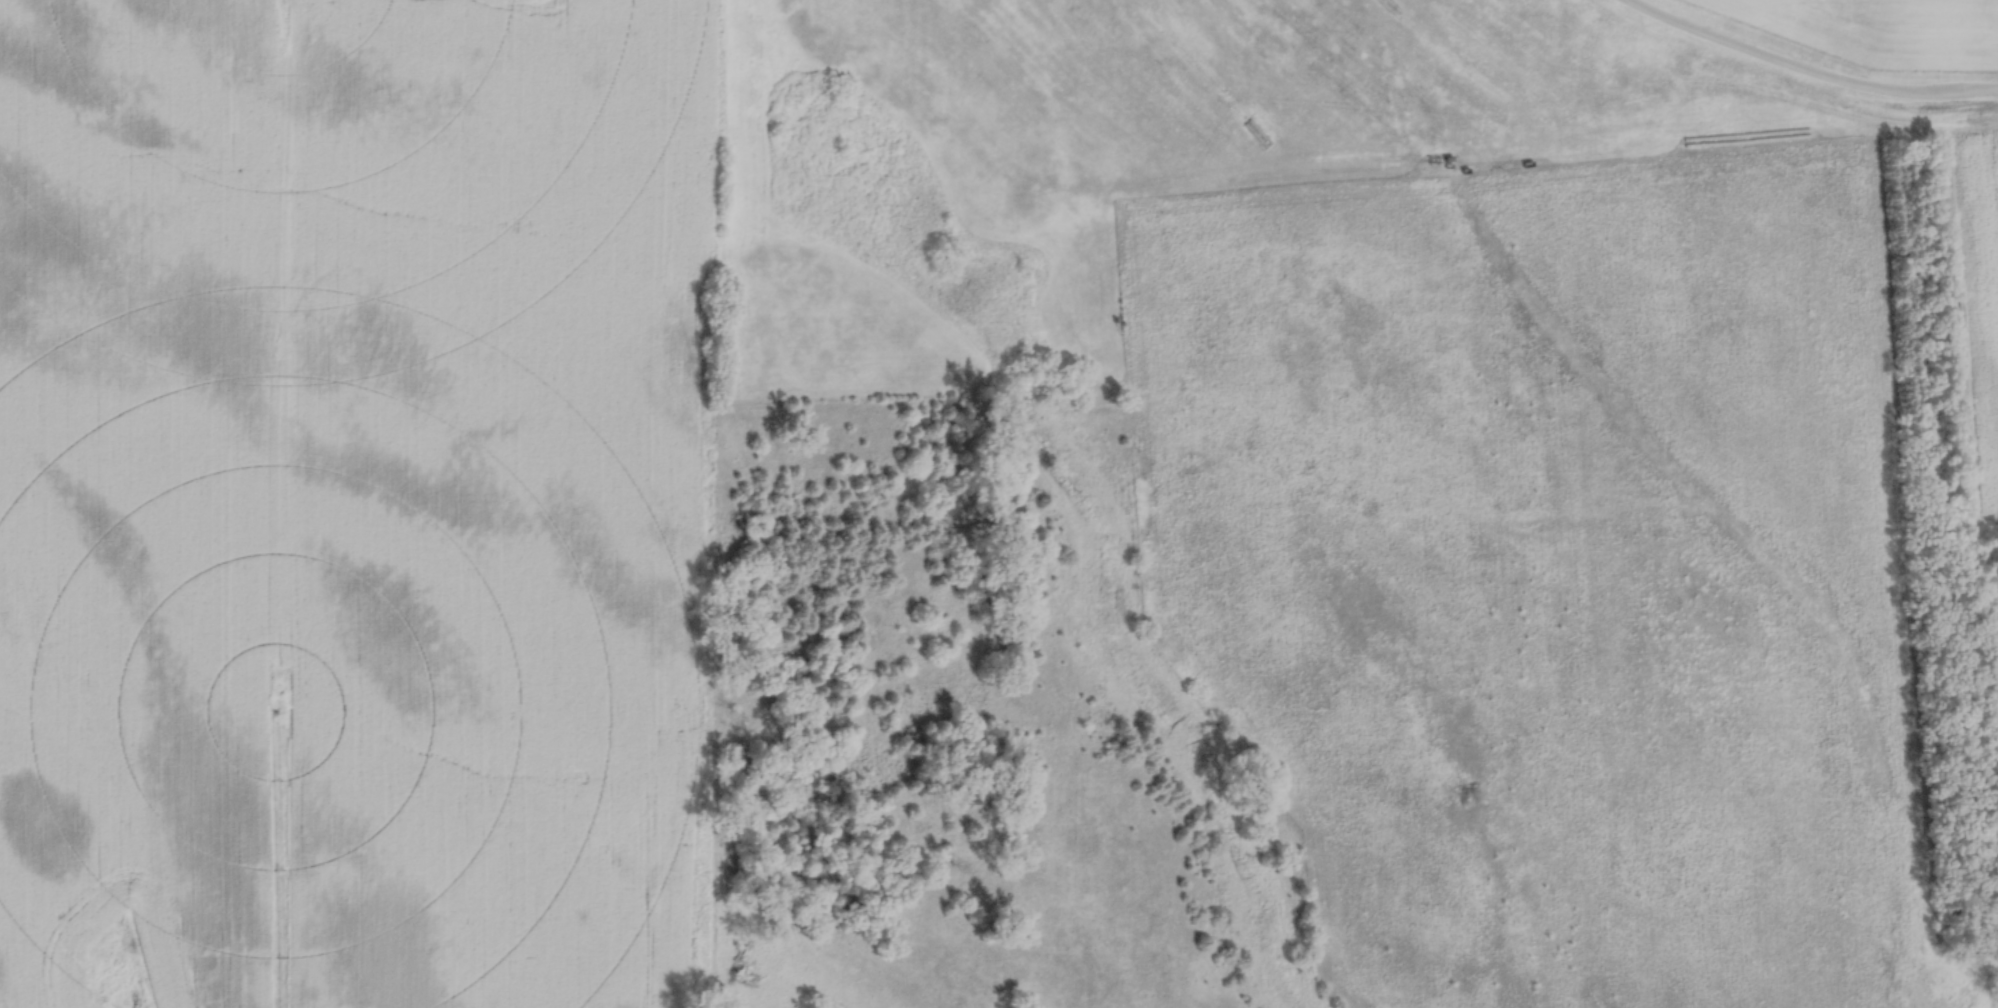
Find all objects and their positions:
road: (1806, 71)

